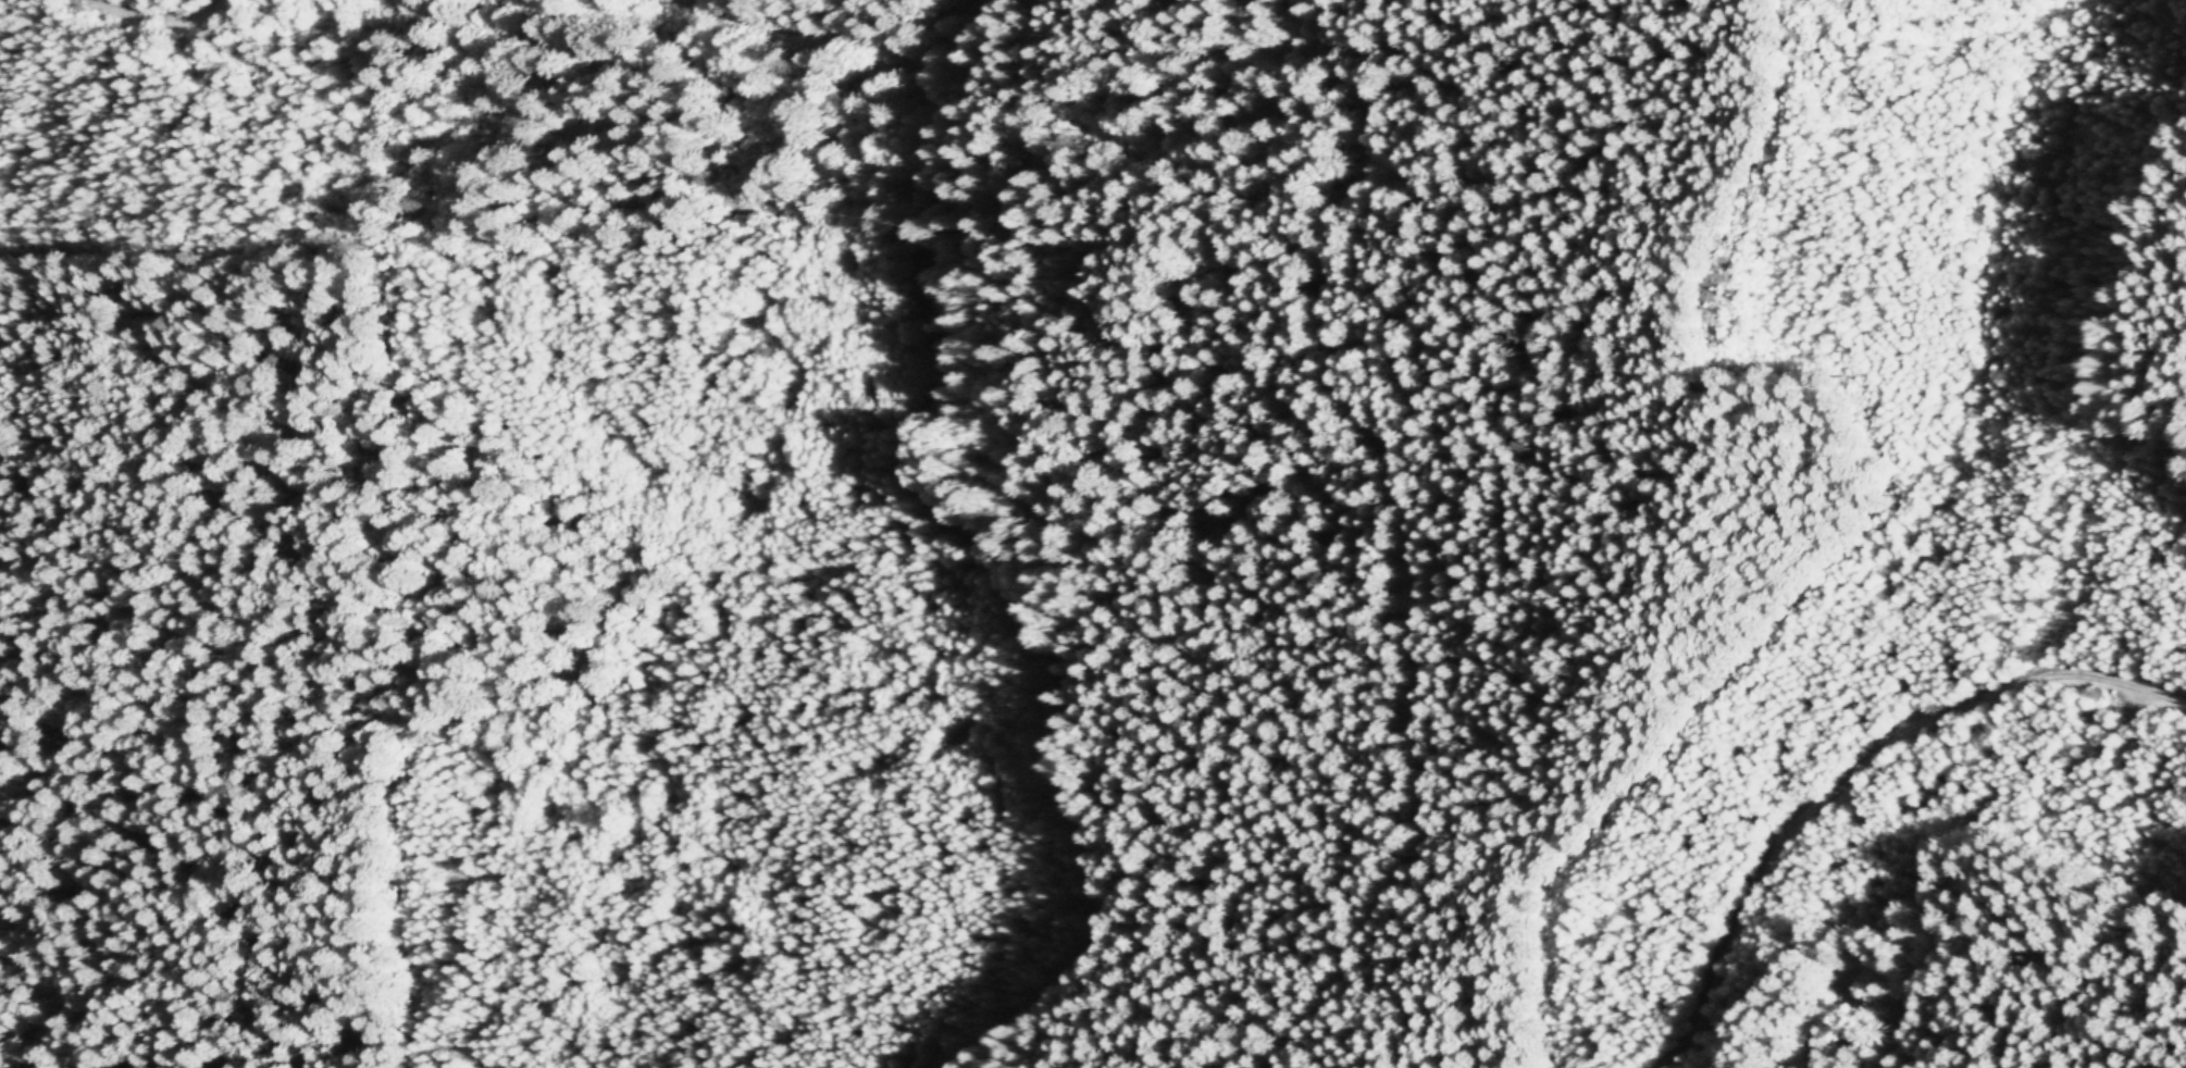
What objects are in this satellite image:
road: (858, 508)

